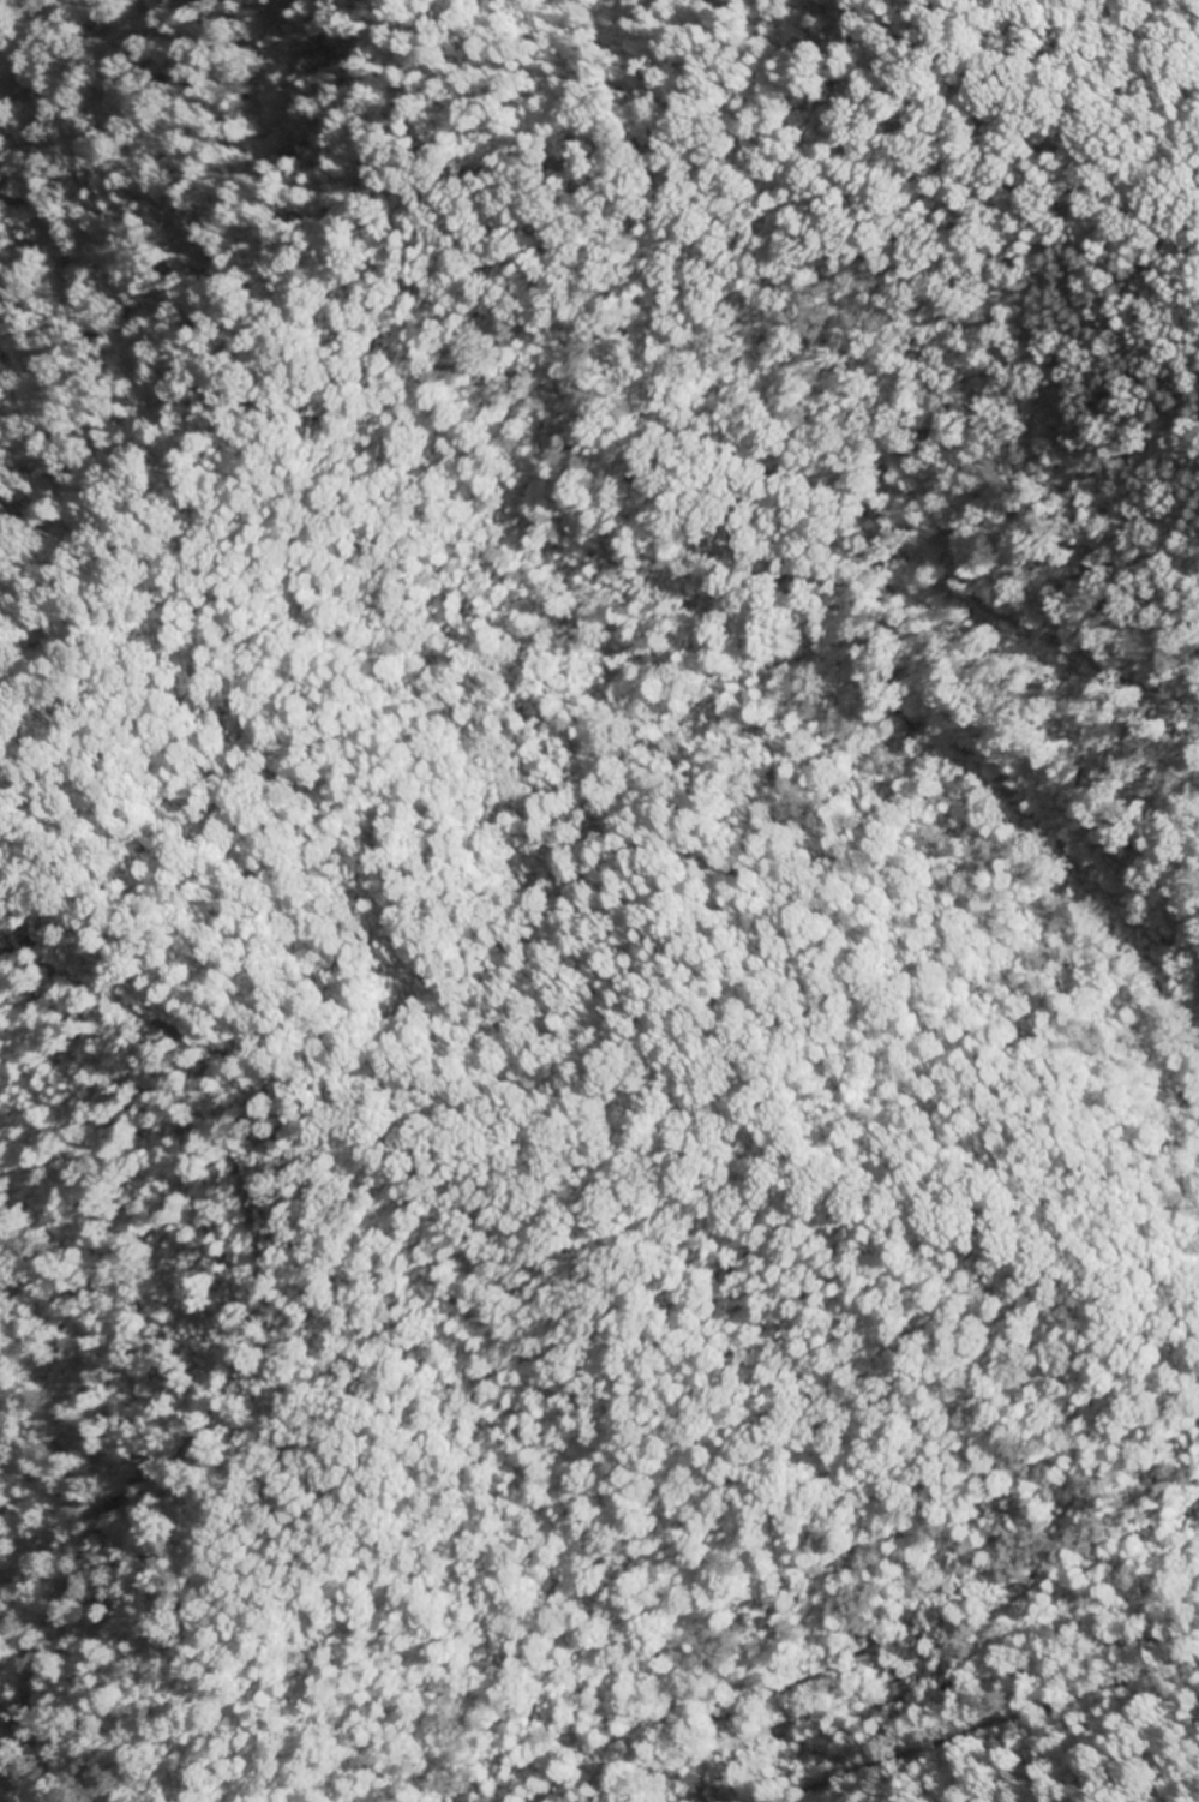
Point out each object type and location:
road: (993, 1719)

